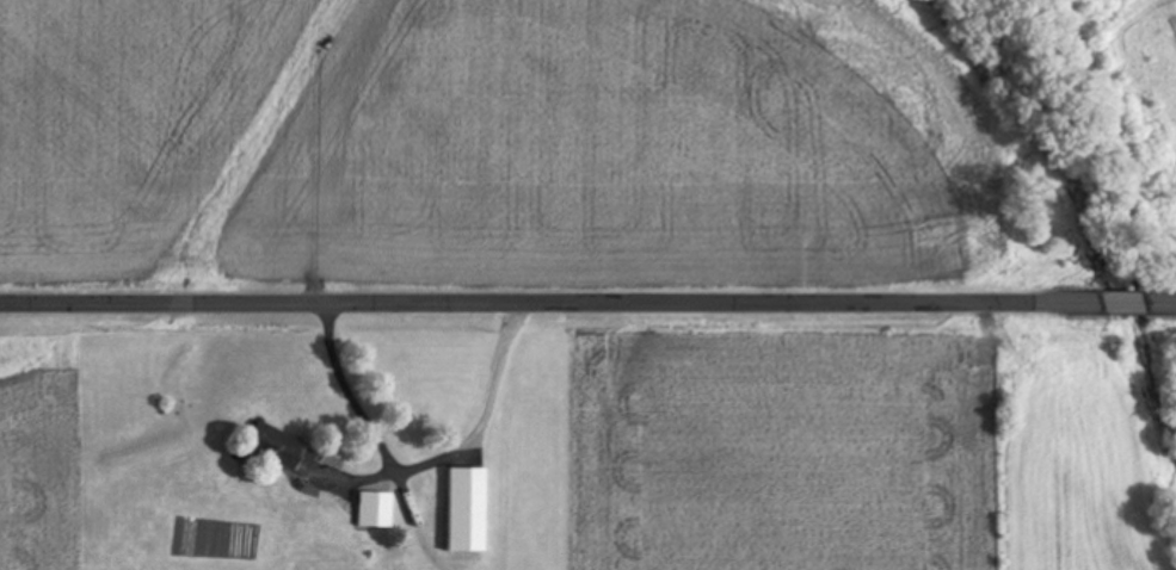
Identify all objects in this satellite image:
river: (1090, 244)
road: (1162, 302)
road: (1125, 303)
road: (552, 304)
building: (284, 450)
building: (470, 510)

